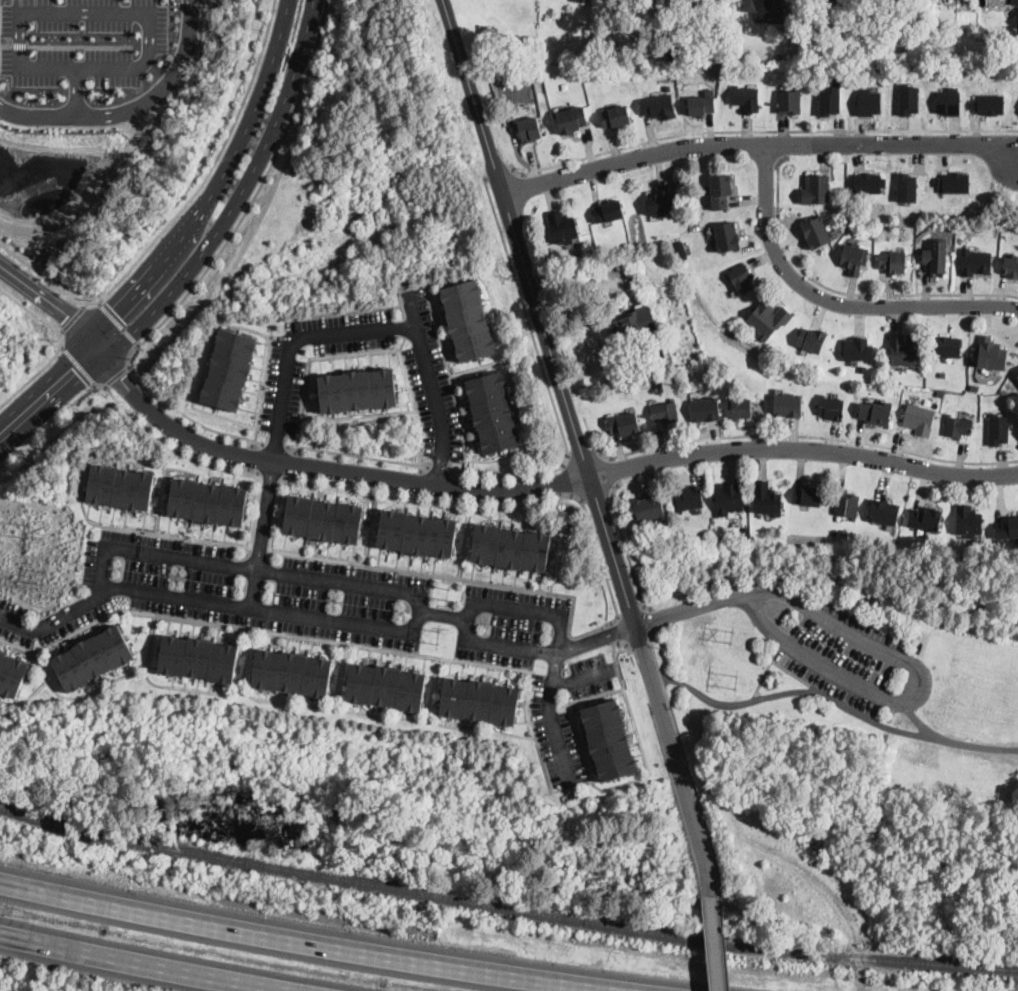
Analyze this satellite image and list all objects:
building: (574, 0)
building: (893, 0)
building: (1014, 2)
building: (766, 9)
building: (847, 12)
road: (5, 44)
road: (18, 44)
road: (78, 44)
building: (1017, 46)
building: (885, 48)
building: (533, 50)
building: (674, 50)
building: (898, 53)
road: (142, 60)
building: (668, 87)
road: (75, 91)
road: (245, 93)
building: (907, 97)
building: (746, 98)
building: (829, 98)
building: (868, 100)
building: (947, 100)
building: (789, 101)
building: (987, 102)
building: (701, 105)
road: (130, 107)
building: (658, 107)
building: (1017, 108)
building: (614, 117)
building: (571, 120)
building: (529, 129)
road: (758, 129)
road: (761, 143)
road: (780, 144)
road: (499, 174)
building: (866, 181)
building: (953, 182)
road: (210, 183)
building: (906, 186)
building: (816, 190)
building: (720, 191)
road: (236, 193)
building: (660, 201)
building: (608, 211)
building: (562, 227)
building: (815, 232)
building: (726, 237)
building: (680, 249)
building: (853, 259)
building: (606, 261)
building: (935, 261)
building: (893, 262)
building: (975, 262)
road: (210, 263)
building: (619, 265)
building: (1011, 267)
building: (740, 278)
road: (112, 285)
road: (844, 294)
road: (831, 300)
road: (51, 303)
road: (82, 303)
traffic signals: (115, 310)
road: (411, 310)
traffic signals: (67, 314)
road: (71, 317)
road: (274, 317)
building: (630, 318)
building: (467, 319)
building: (768, 319)
road: (117, 321)
road: (59, 330)
road: (372, 331)
building: (811, 340)
road: (58, 343)
building: (946, 347)
building: (857, 349)
road: (369, 350)
building: (904, 351)
building: (990, 354)
road: (77, 363)
building: (639, 365)
building: (228, 368)
traffic signals: (73, 369)
building: (942, 373)
road: (115, 374)
road: (545, 375)
traffic signals: (122, 376)
building: (1017, 376)
building: (659, 384)
building: (357, 389)
road: (49, 390)
building: (788, 405)
building: (742, 408)
building: (831, 408)
building: (705, 409)
building: (493, 412)
building: (664, 412)
building: (875, 413)
building: (919, 419)
building: (624, 424)
building: (956, 426)
building: (998, 428)
road: (805, 434)
road: (273, 443)
road: (580, 448)
road: (803, 448)
road: (356, 455)
road: (253, 457)
road: (583, 457)
road: (213, 465)
road: (323, 466)
road: (611, 469)
road: (438, 471)
road: (567, 478)
building: (118, 487)
building: (807, 496)
building: (688, 499)
building: (728, 499)
building: (767, 499)
building: (205, 502)
road: (265, 502)
building: (847, 505)
building: (648, 509)
building: (884, 513)
building: (321, 519)
building: (925, 519)
building: (968, 521)
power tower: (24, 528)
building: (1007, 528)
building: (844, 531)
building: (414, 533)
road: (624, 544)
building: (510, 547)
road: (154, 552)
road: (257, 556)
power tower: (41, 572)
road: (604, 572)
road: (347, 580)
road: (252, 589)
power tower: (446, 591)
road: (526, 607)
road: (686, 609)
road: (293, 617)
road: (649, 617)
road: (621, 629)
road: (618, 630)
power tower: (730, 633)
power tower: (438, 635)
road: (583, 642)
road: (622, 642)
road: (652, 650)
parking lot: (880, 651)
parking lot: (842, 653)
building: (92, 657)
building: (198, 657)
power tower: (911, 662)
road: (616, 665)
road: (785, 669)
building: (292, 671)
building: (11, 674)
road: (580, 678)
power tower: (734, 680)
building: (385, 685)
road: (916, 688)
building: (479, 699)
road: (837, 701)
road: (550, 717)
road: (917, 721)
building: (608, 739)
road: (1016, 750)
park: (854, 758)
road: (692, 784)
road: (314, 942)
road: (723, 943)
road: (713, 944)
road: (147, 963)

